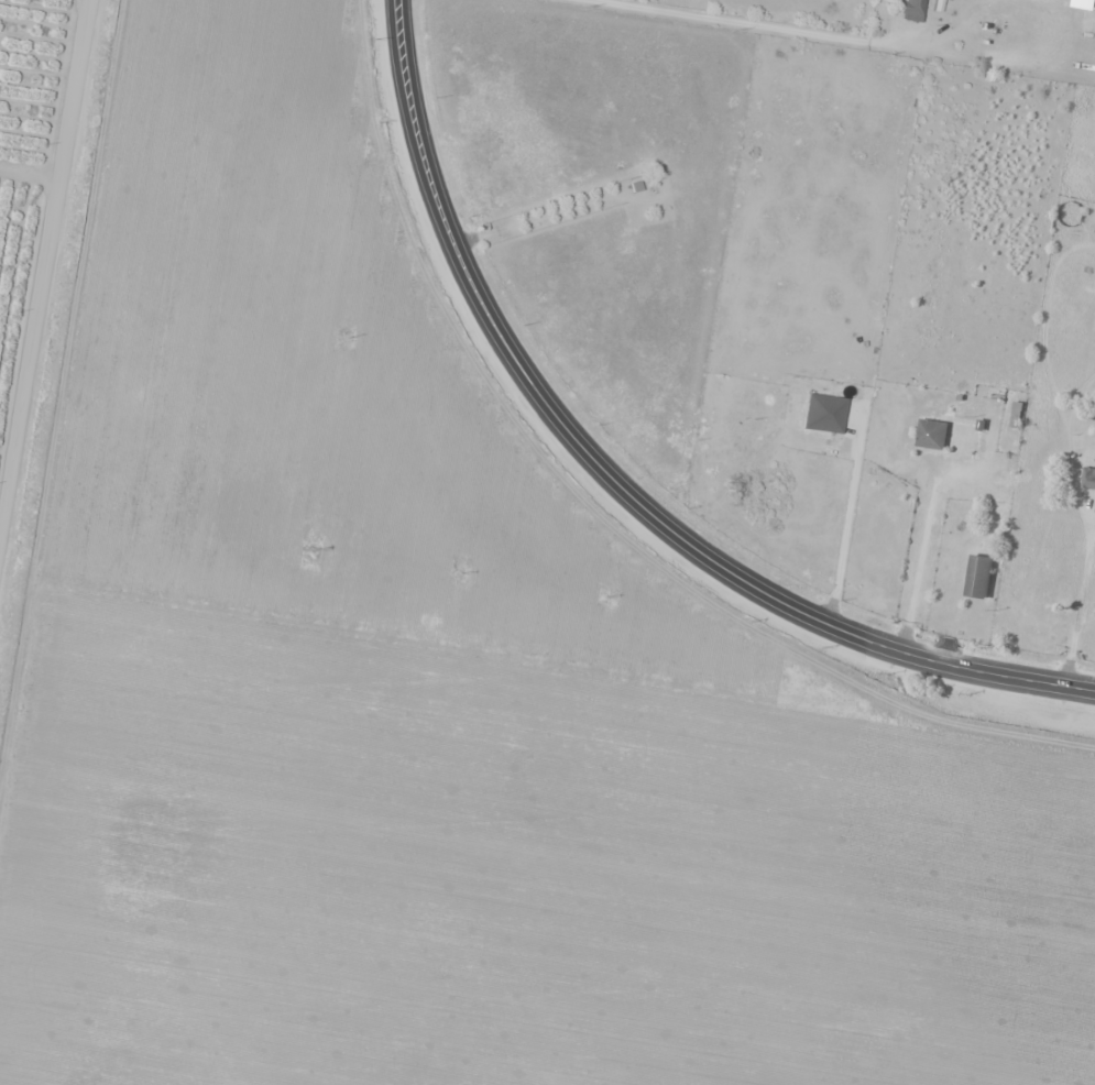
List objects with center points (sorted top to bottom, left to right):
building: (911, 8)
road: (52, 227)
building: (932, 434)
building: (1088, 446)
road: (611, 480)
road: (8, 503)
building: (977, 576)

